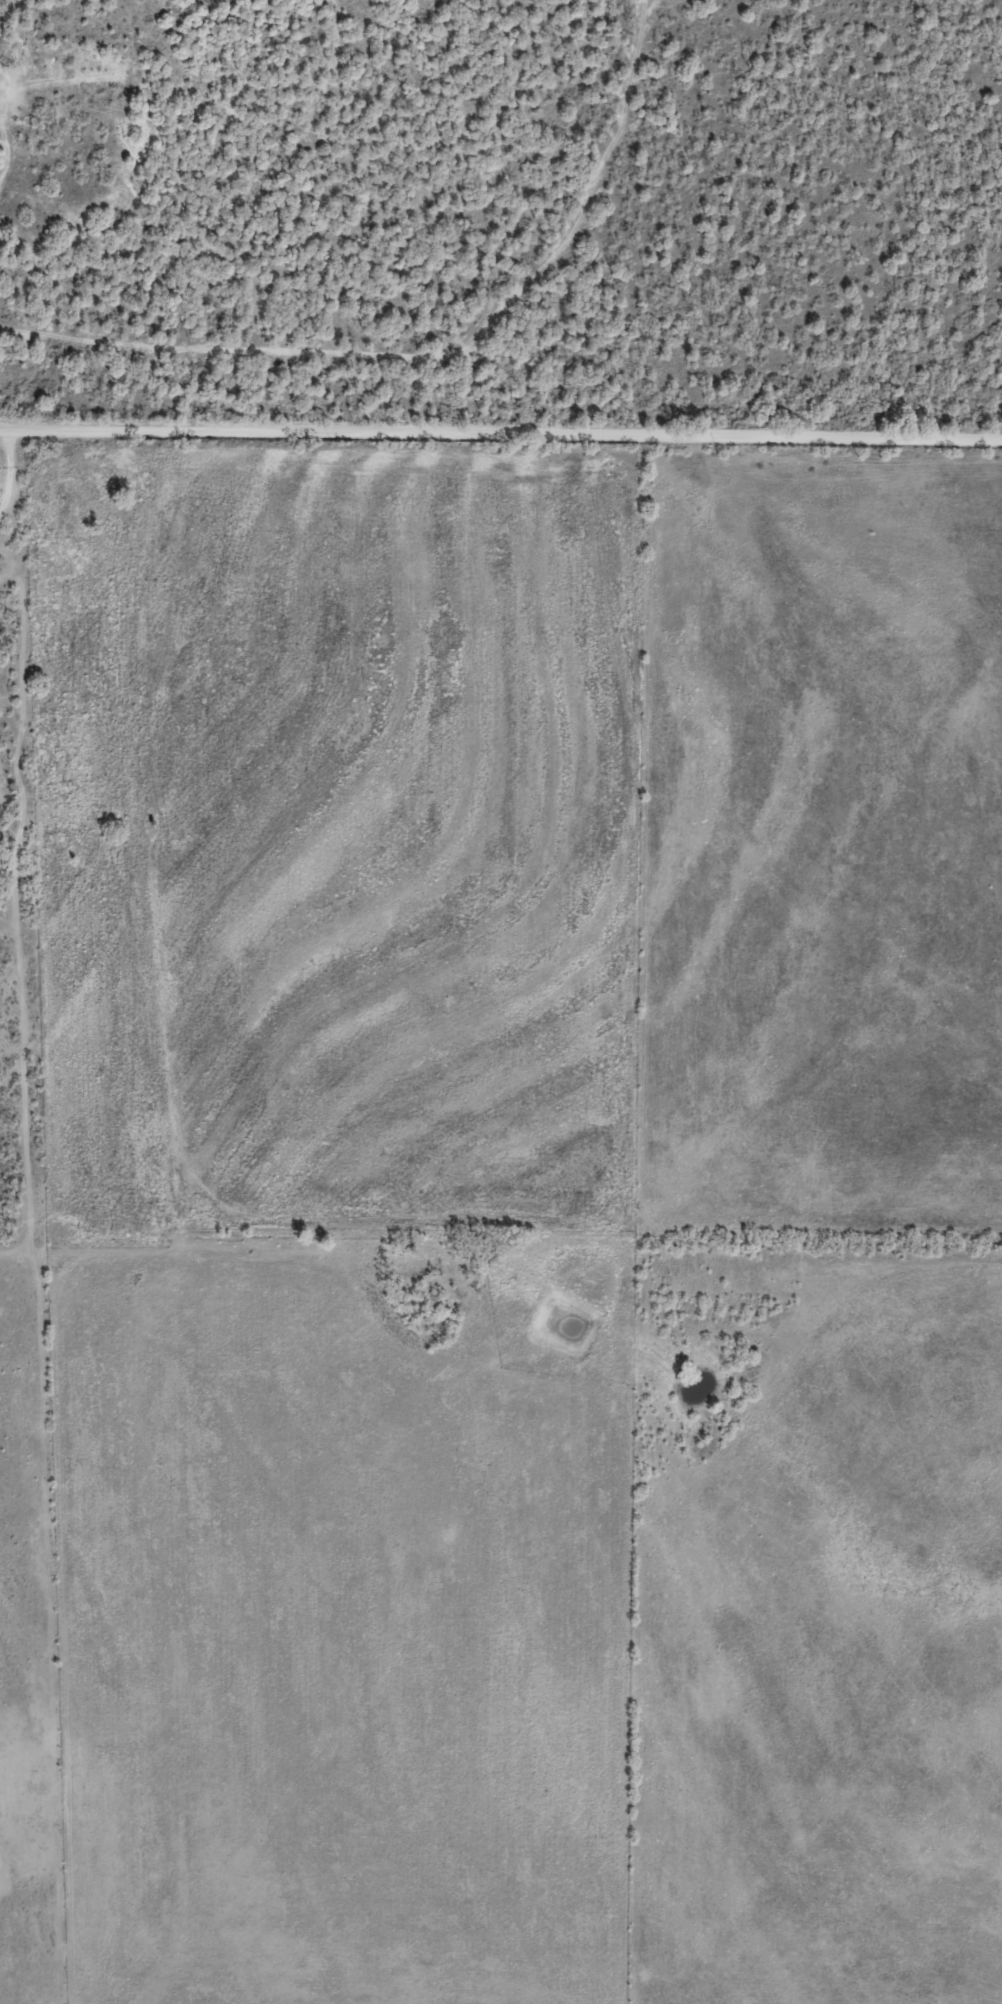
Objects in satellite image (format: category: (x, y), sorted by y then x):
road: (501, 436)

